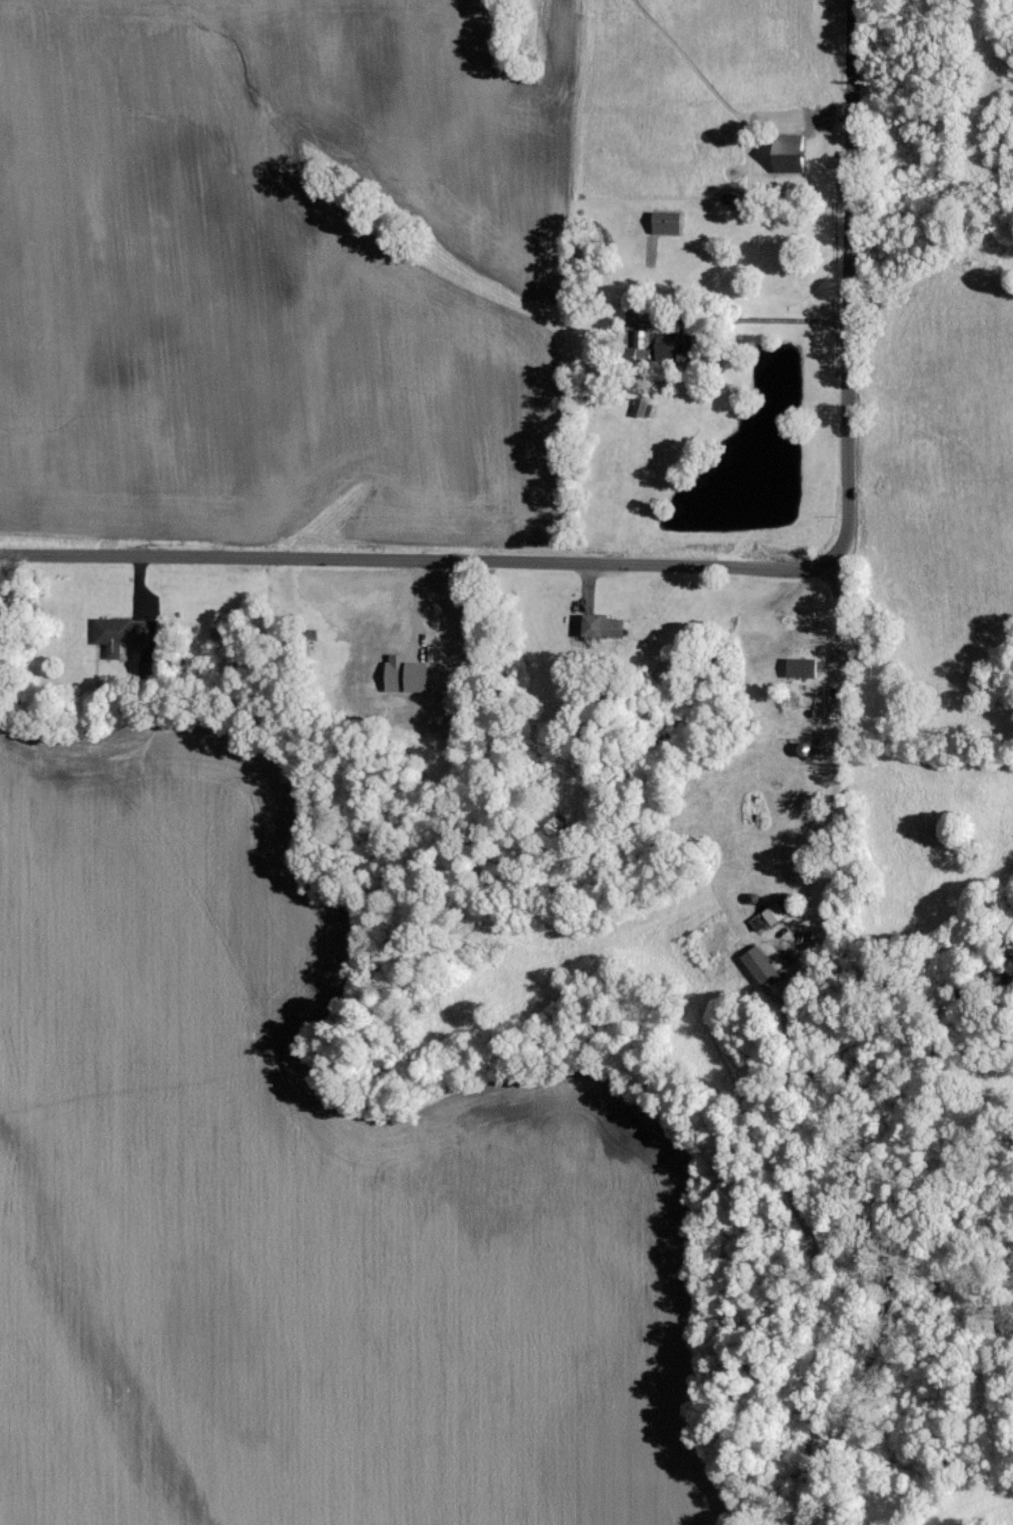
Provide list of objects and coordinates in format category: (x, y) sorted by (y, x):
building: (791, 154)
building: (670, 222)
road: (746, 317)
building: (675, 347)
road: (699, 568)
building: (804, 666)
road: (841, 732)
building: (776, 912)
building: (763, 966)

